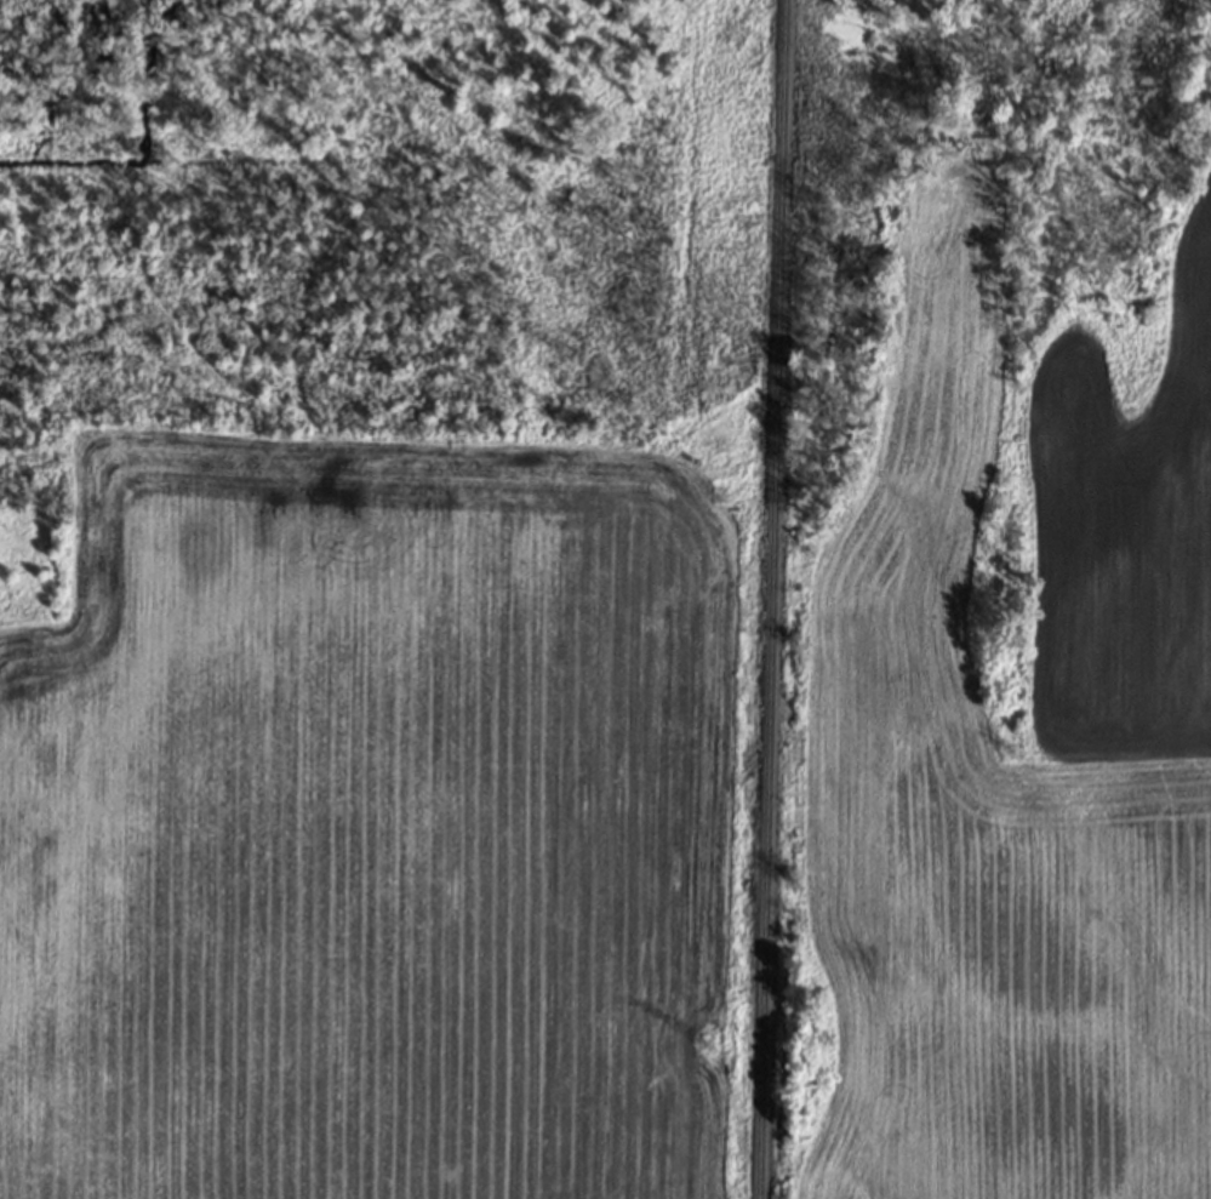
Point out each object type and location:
railway: (786, 599)
power tower: (706, 1044)

